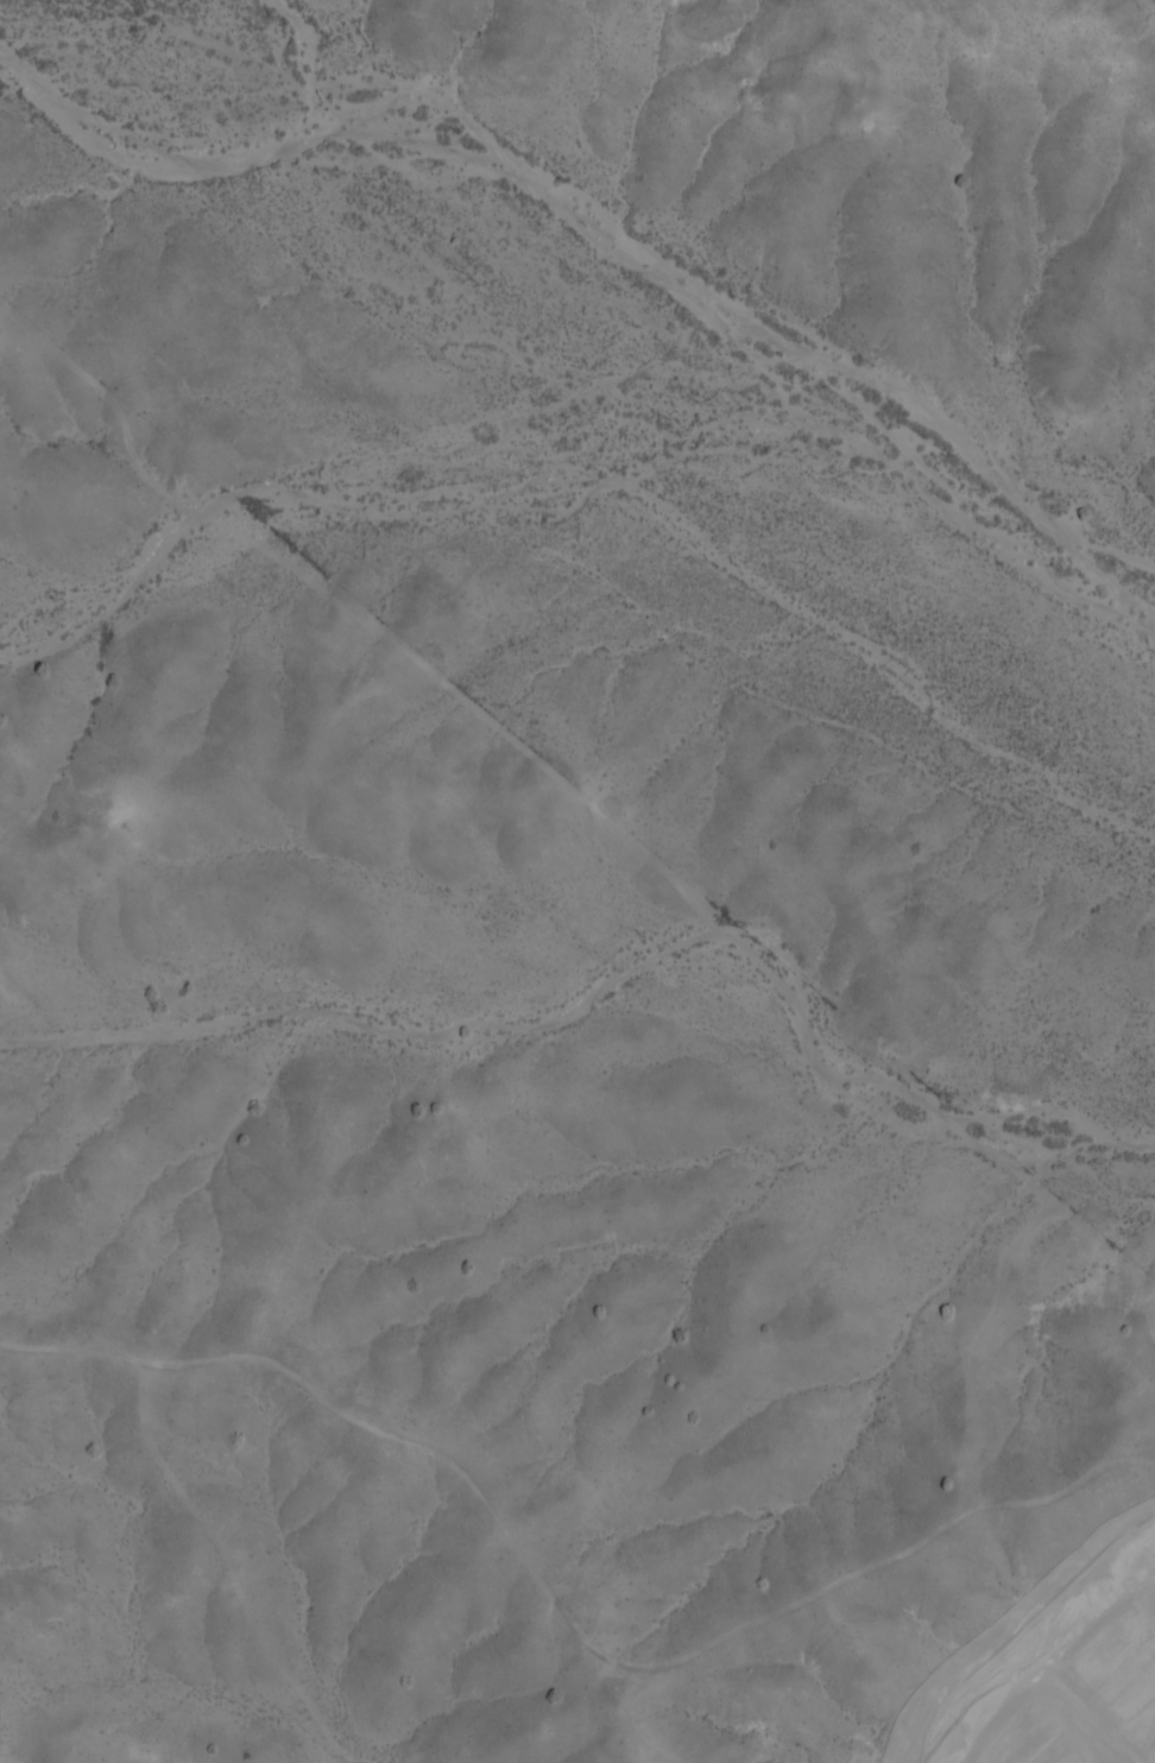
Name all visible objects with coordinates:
road: (1042, 1654)
road: (1078, 1714)

